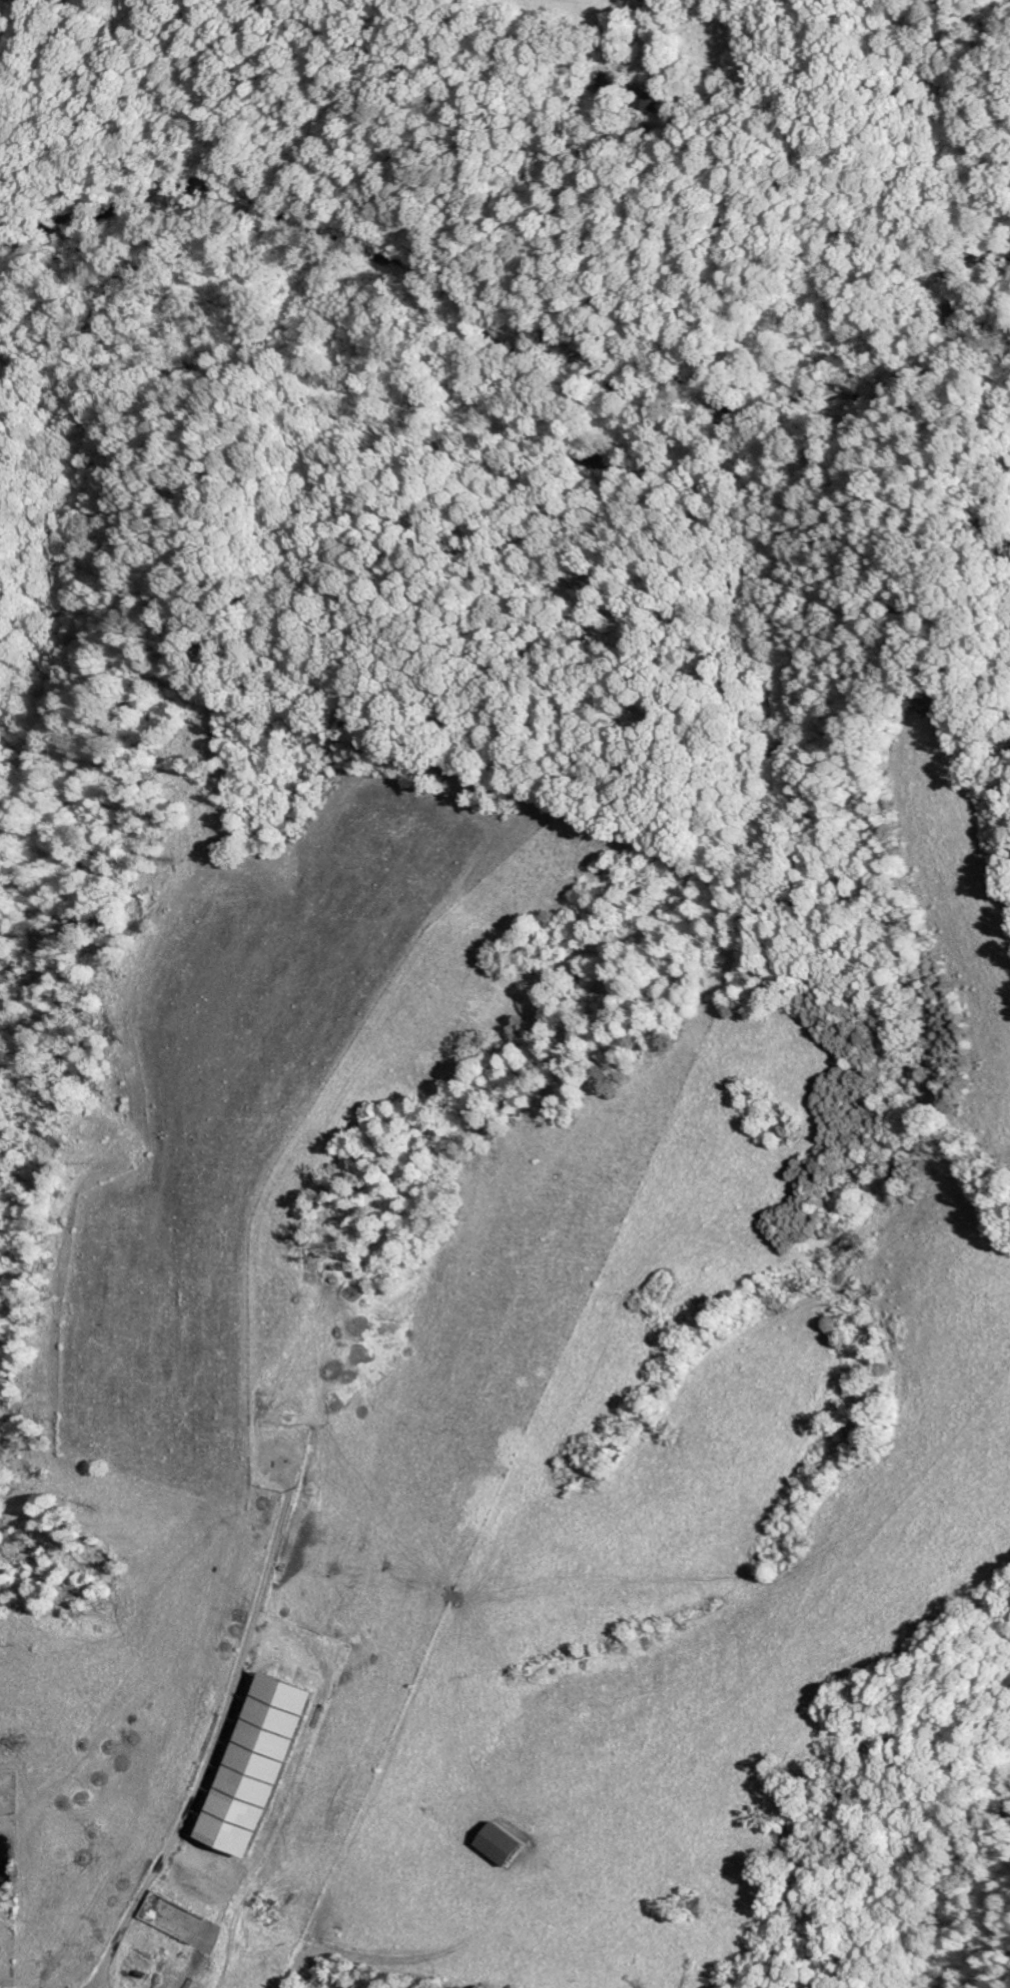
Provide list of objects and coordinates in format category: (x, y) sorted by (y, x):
building: (259, 1762)
building: (137, 1968)
road: (189, 1970)

